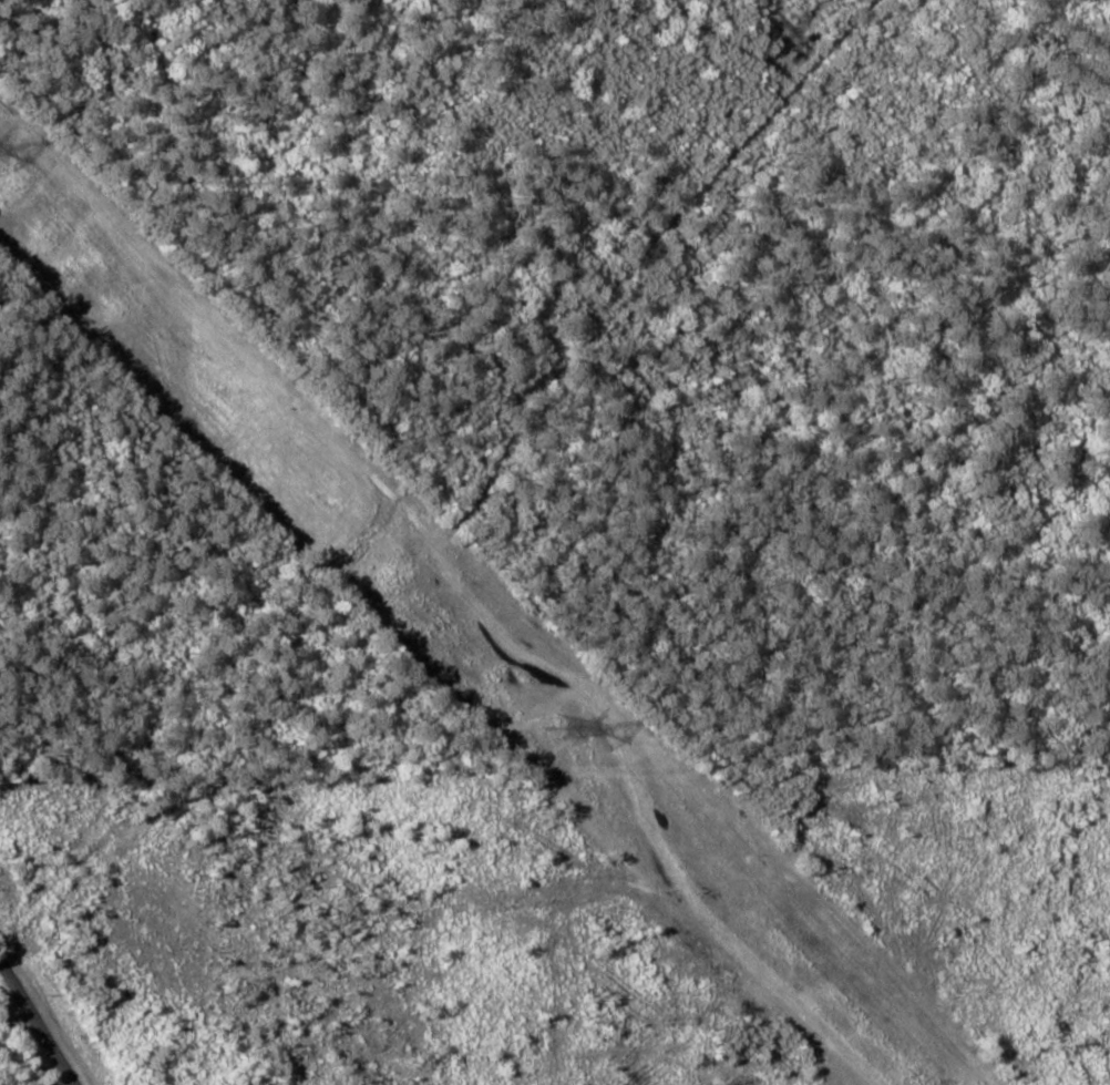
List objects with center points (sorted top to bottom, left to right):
power tower: (552, 727)
road: (17, 1054)

